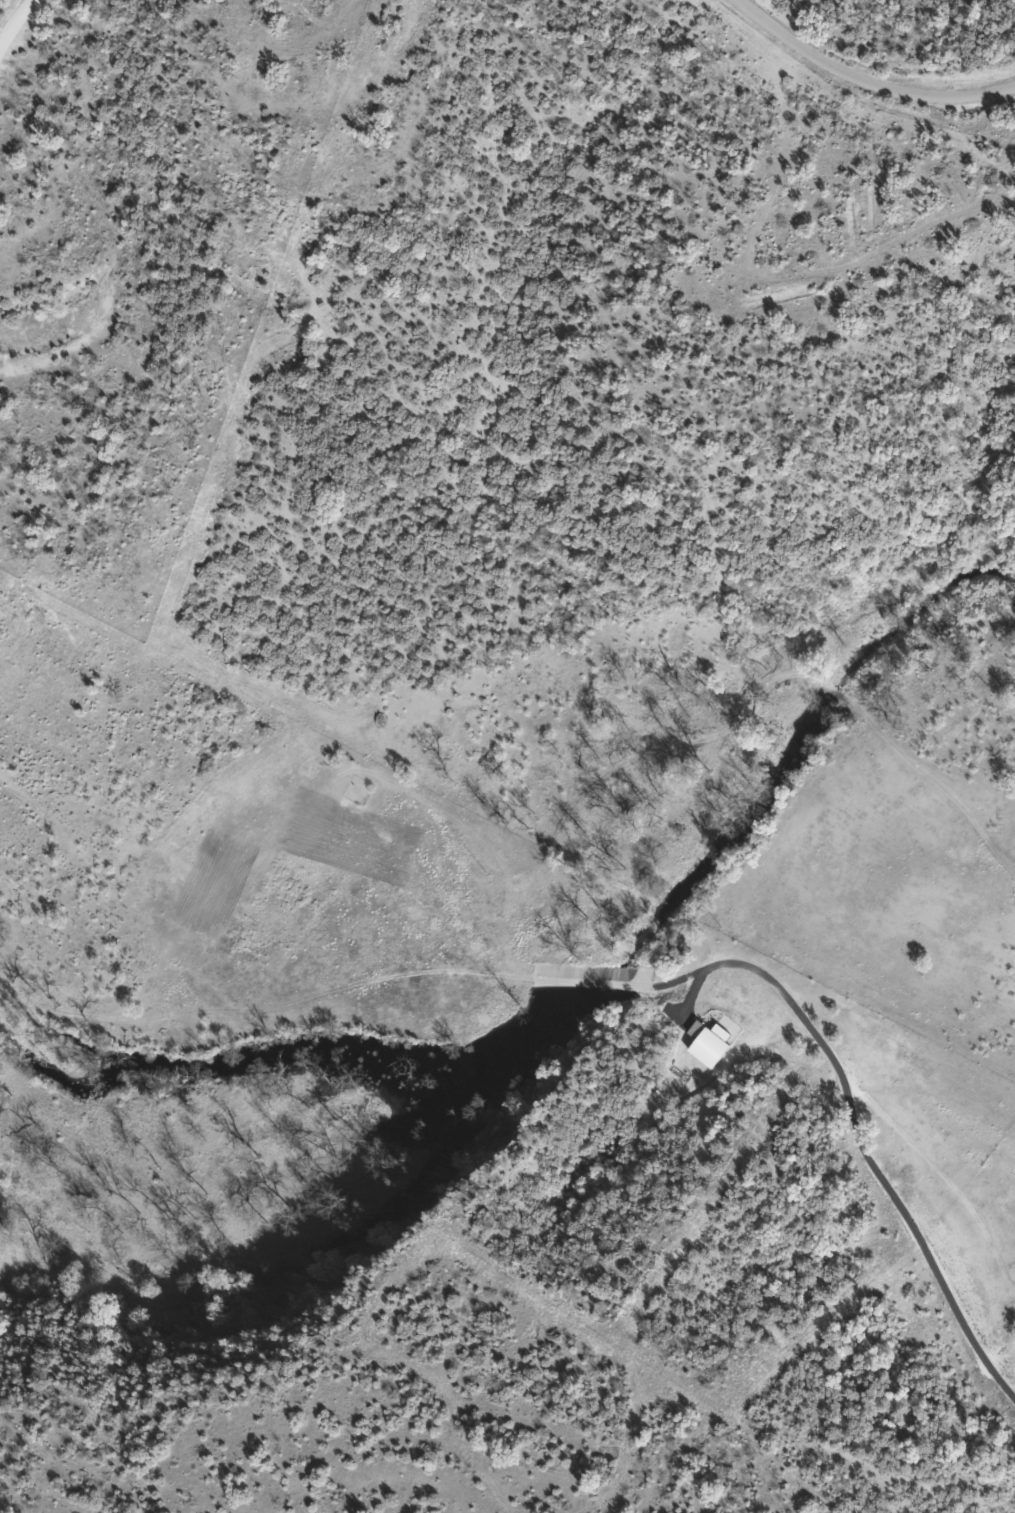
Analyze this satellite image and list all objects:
road: (38, 51)
road: (805, 78)
road: (31, 821)
road: (876, 1200)

